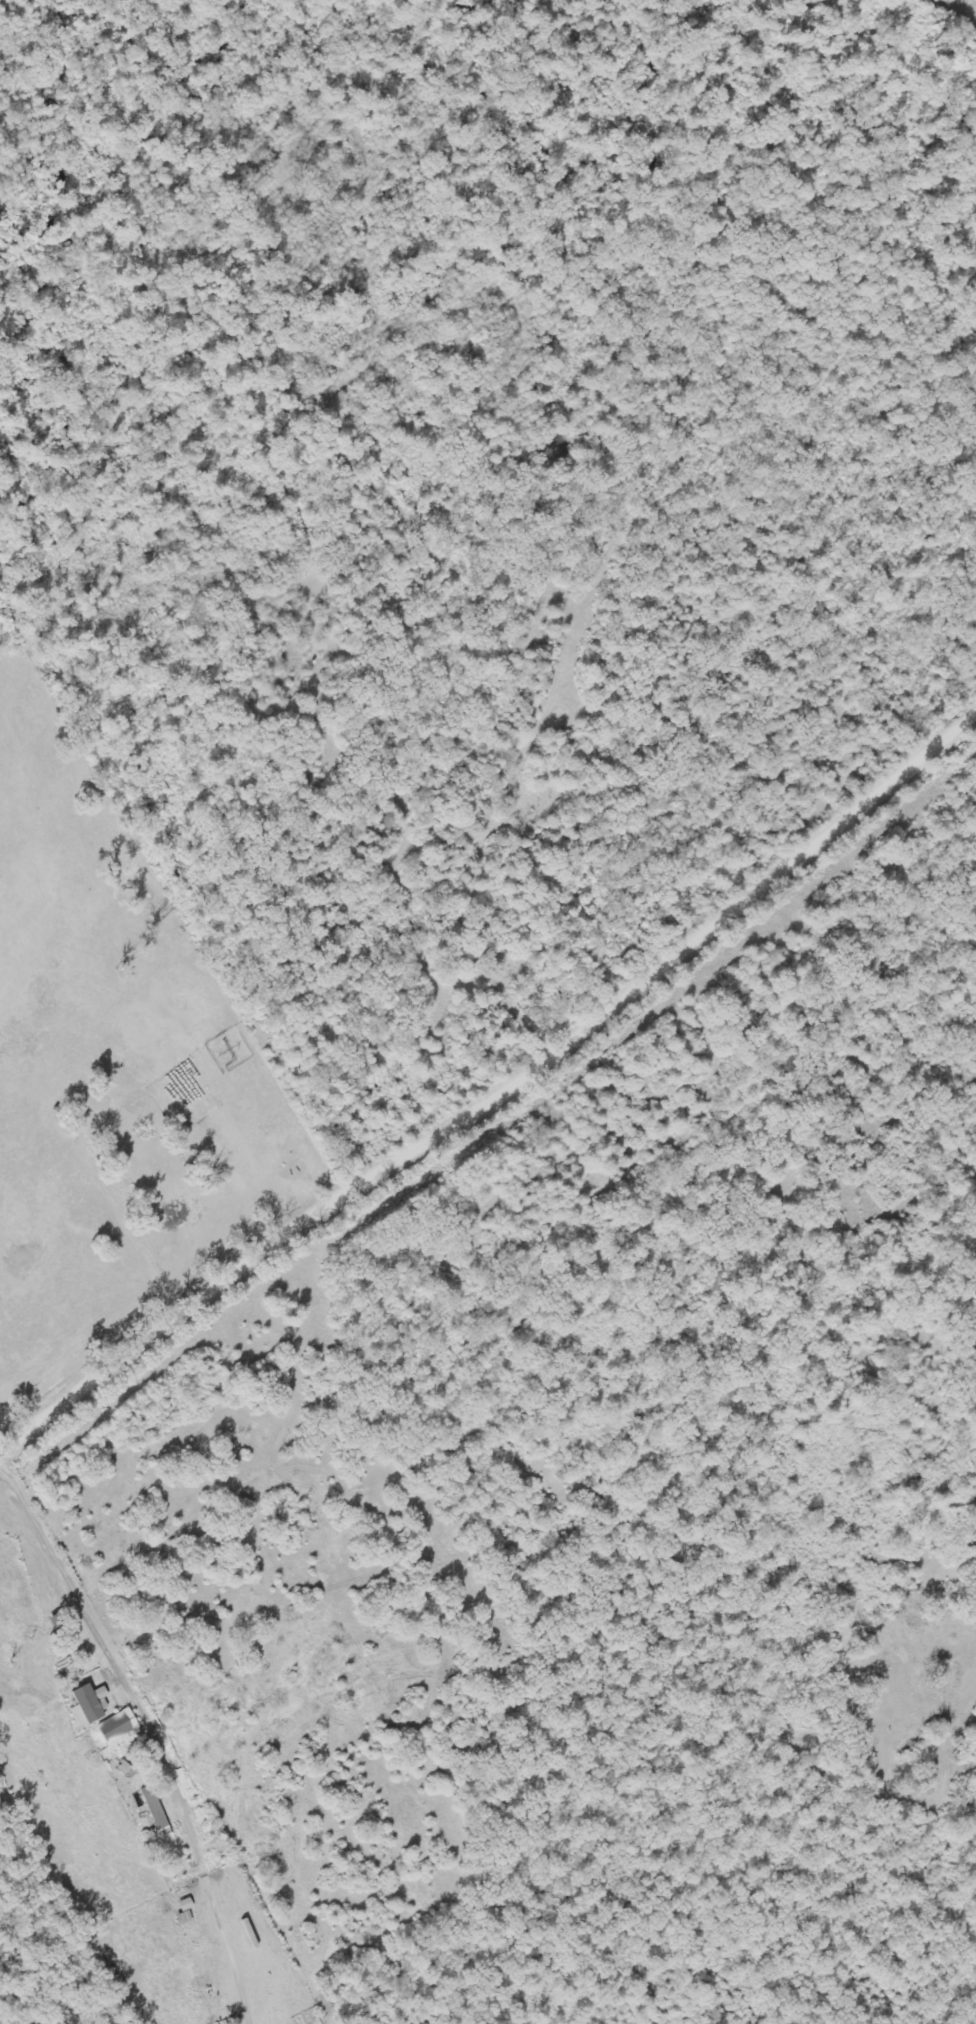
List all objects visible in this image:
road: (498, 1114)
building: (91, 1706)
building: (121, 1729)
building: (158, 1812)

